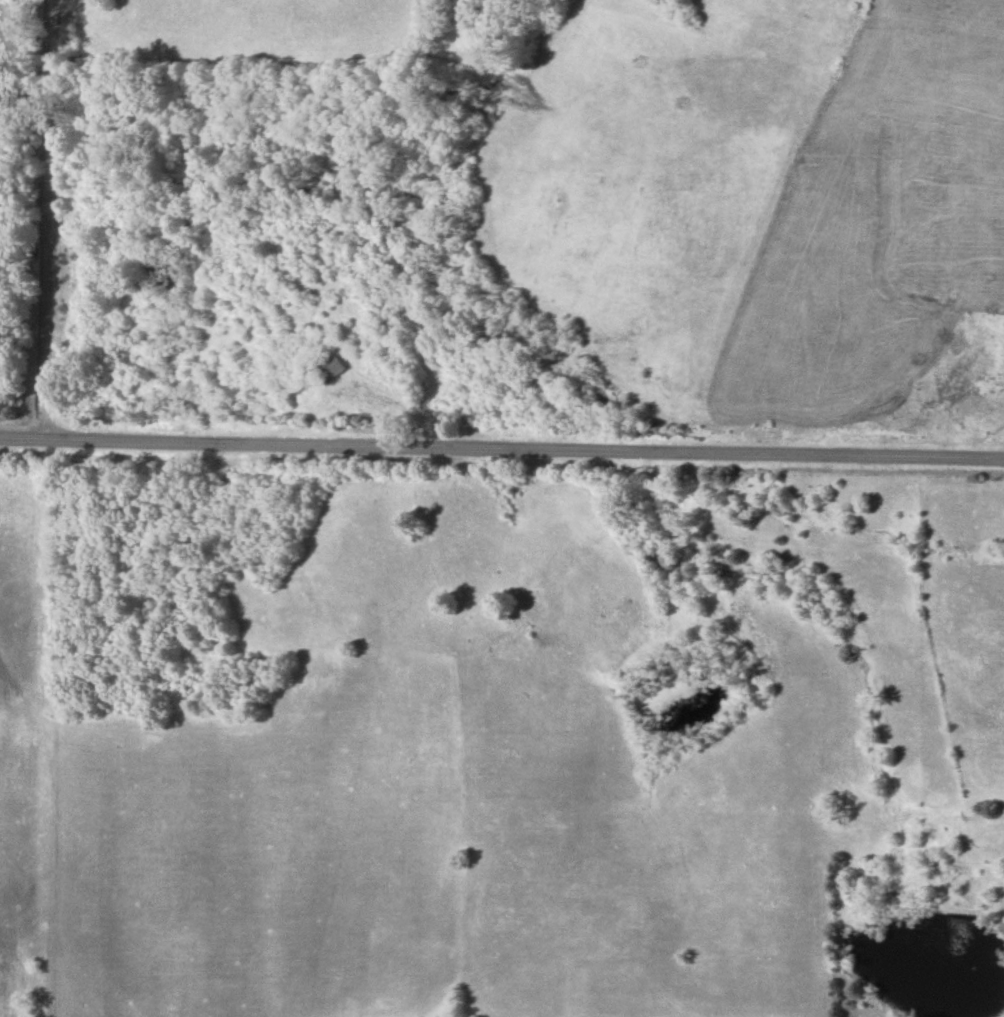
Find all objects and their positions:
road: (48, 217)
building: (334, 369)
road: (23, 435)
road: (525, 448)

